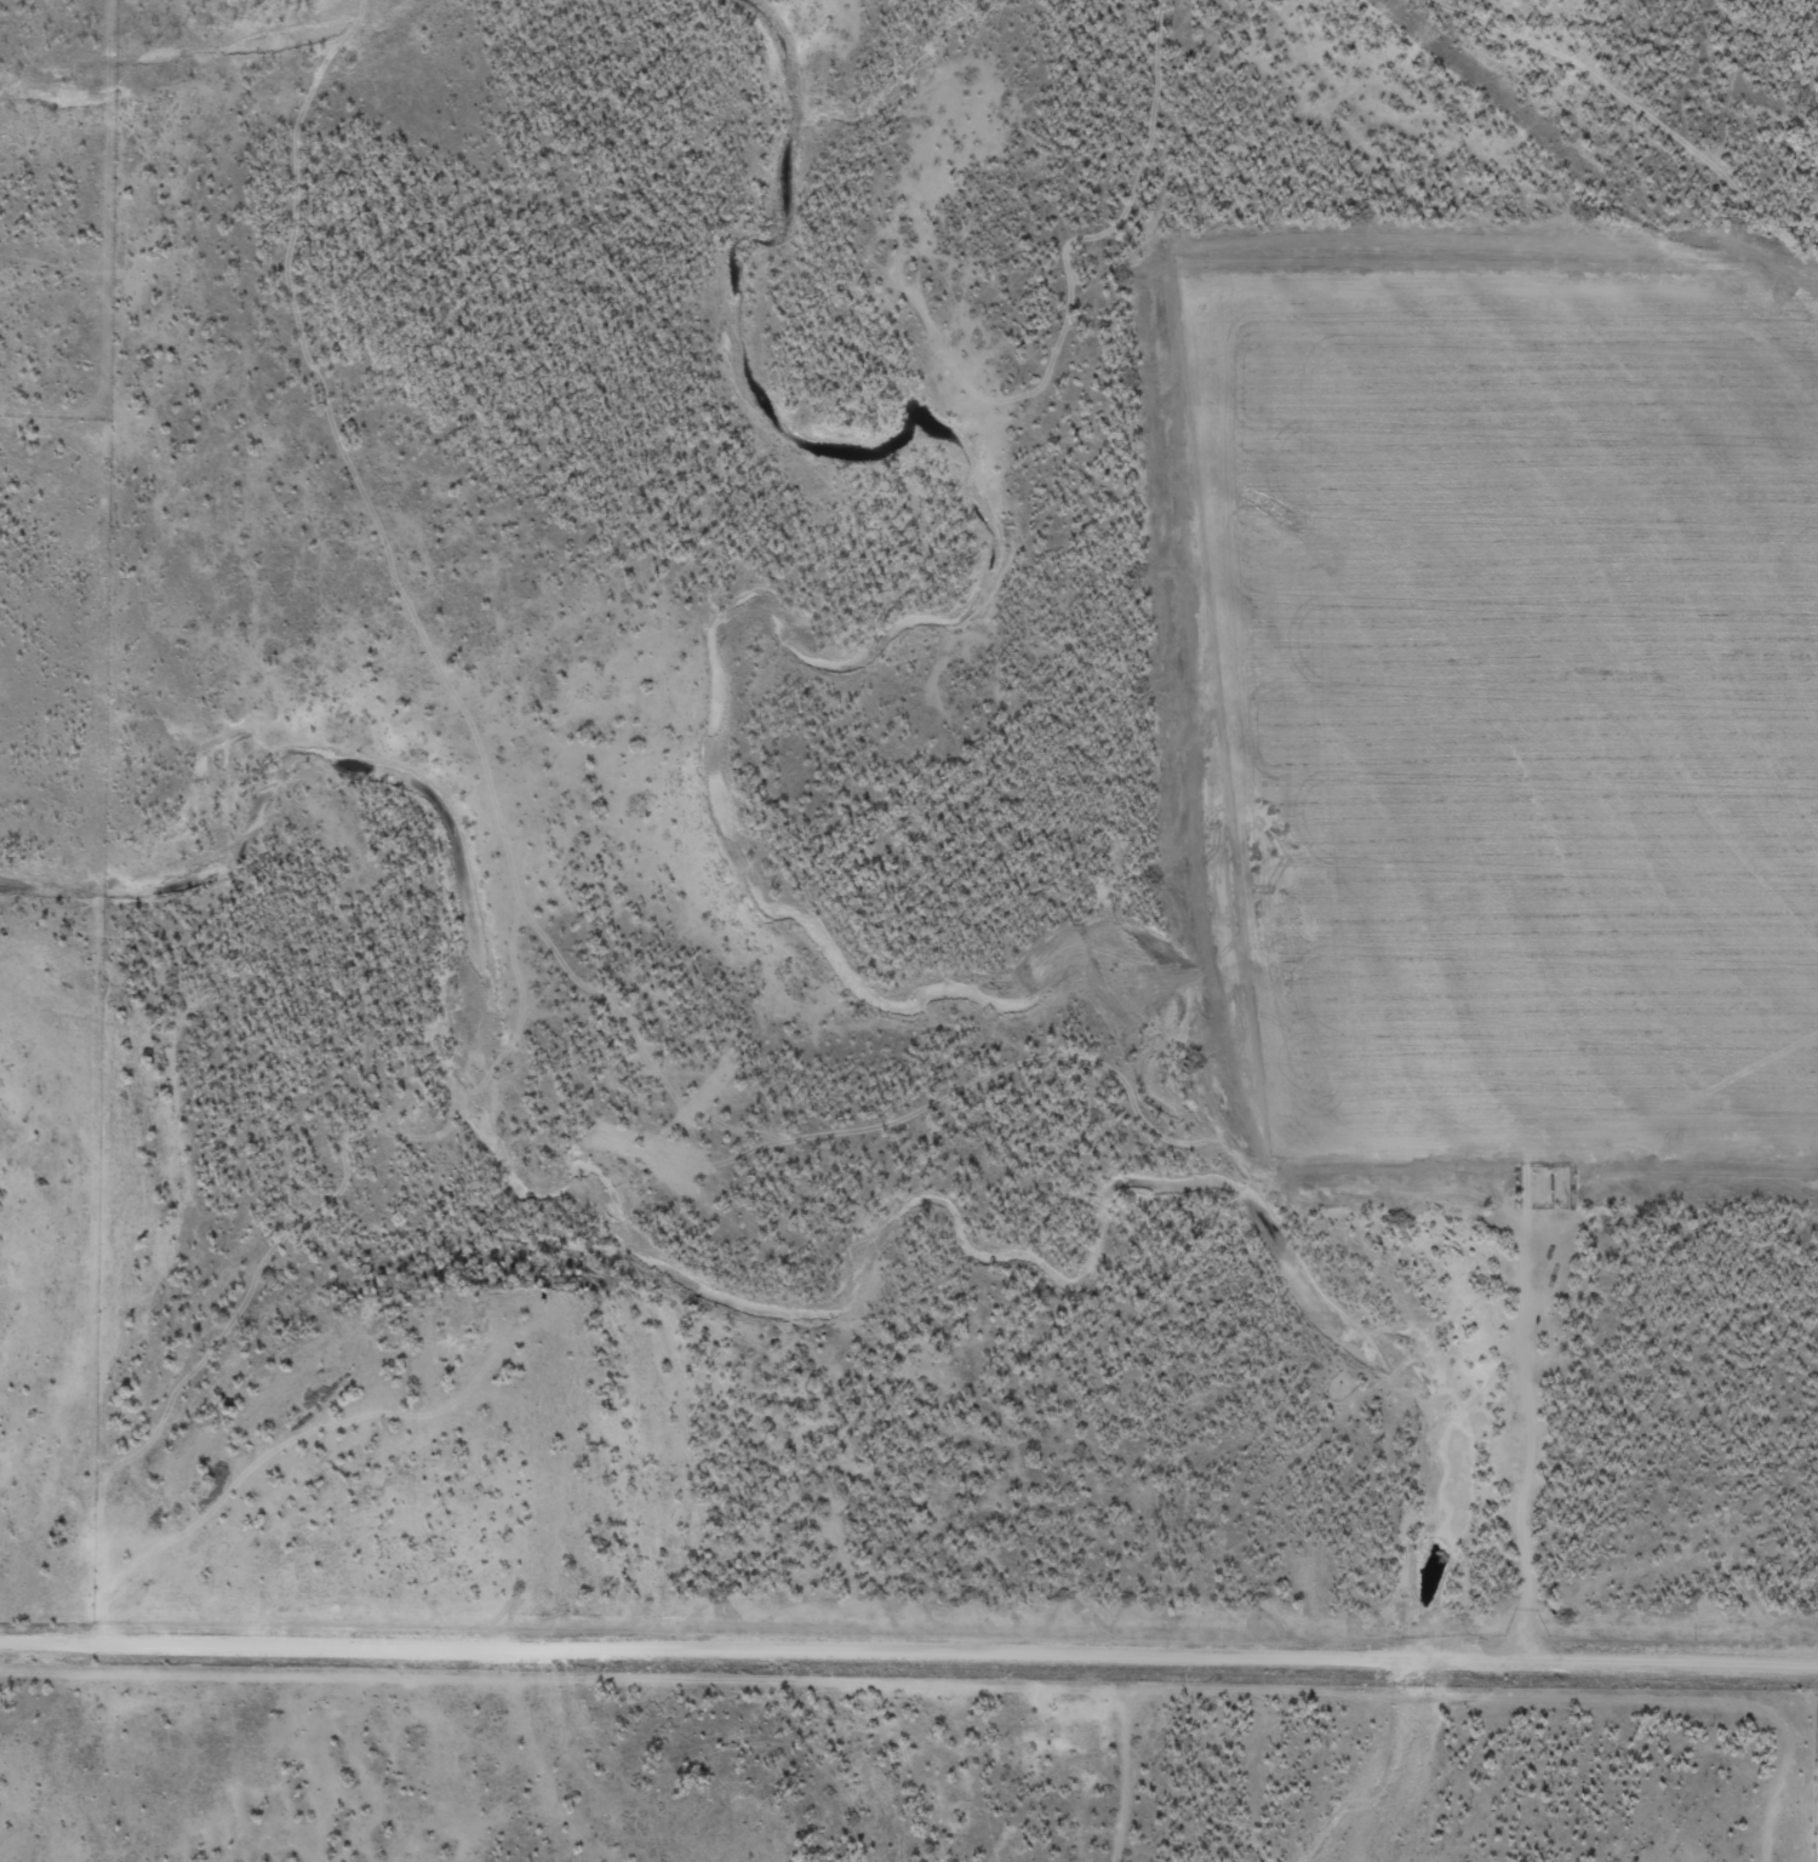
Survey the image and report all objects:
road: (909, 1656)

